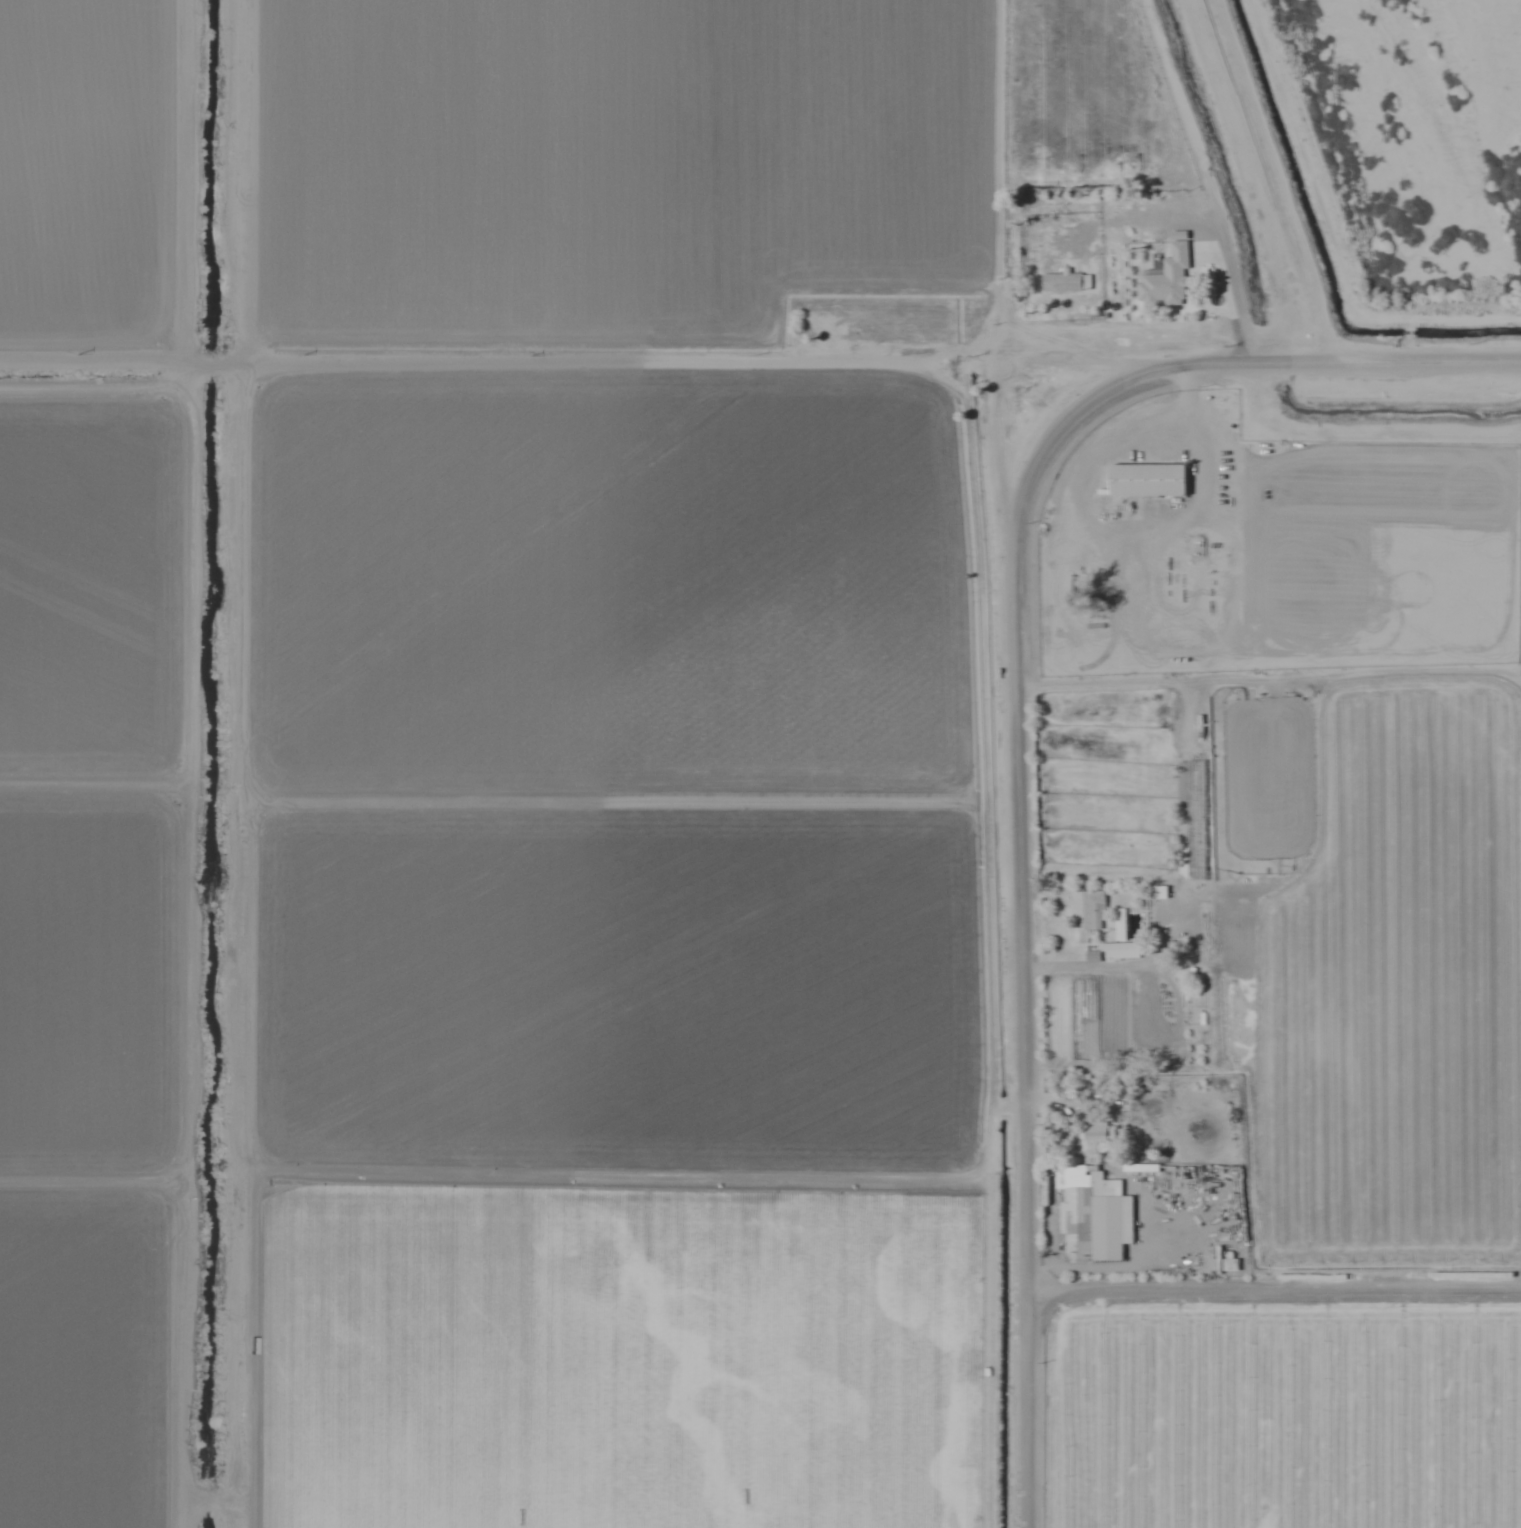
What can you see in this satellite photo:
crop: (610, 161)
building: (1178, 278)
building: (1065, 282)
building: (813, 322)
road: (1277, 365)
building: (1147, 479)
crop: (608, 583)
building: (1086, 913)
building: (1120, 950)
road: (1032, 961)
crop: (615, 986)
building: (1095, 1133)
building: (1170, 1169)
building: (1092, 1213)
building: (1230, 1264)
crop: (617, 1356)
crop: (1282, 1410)

